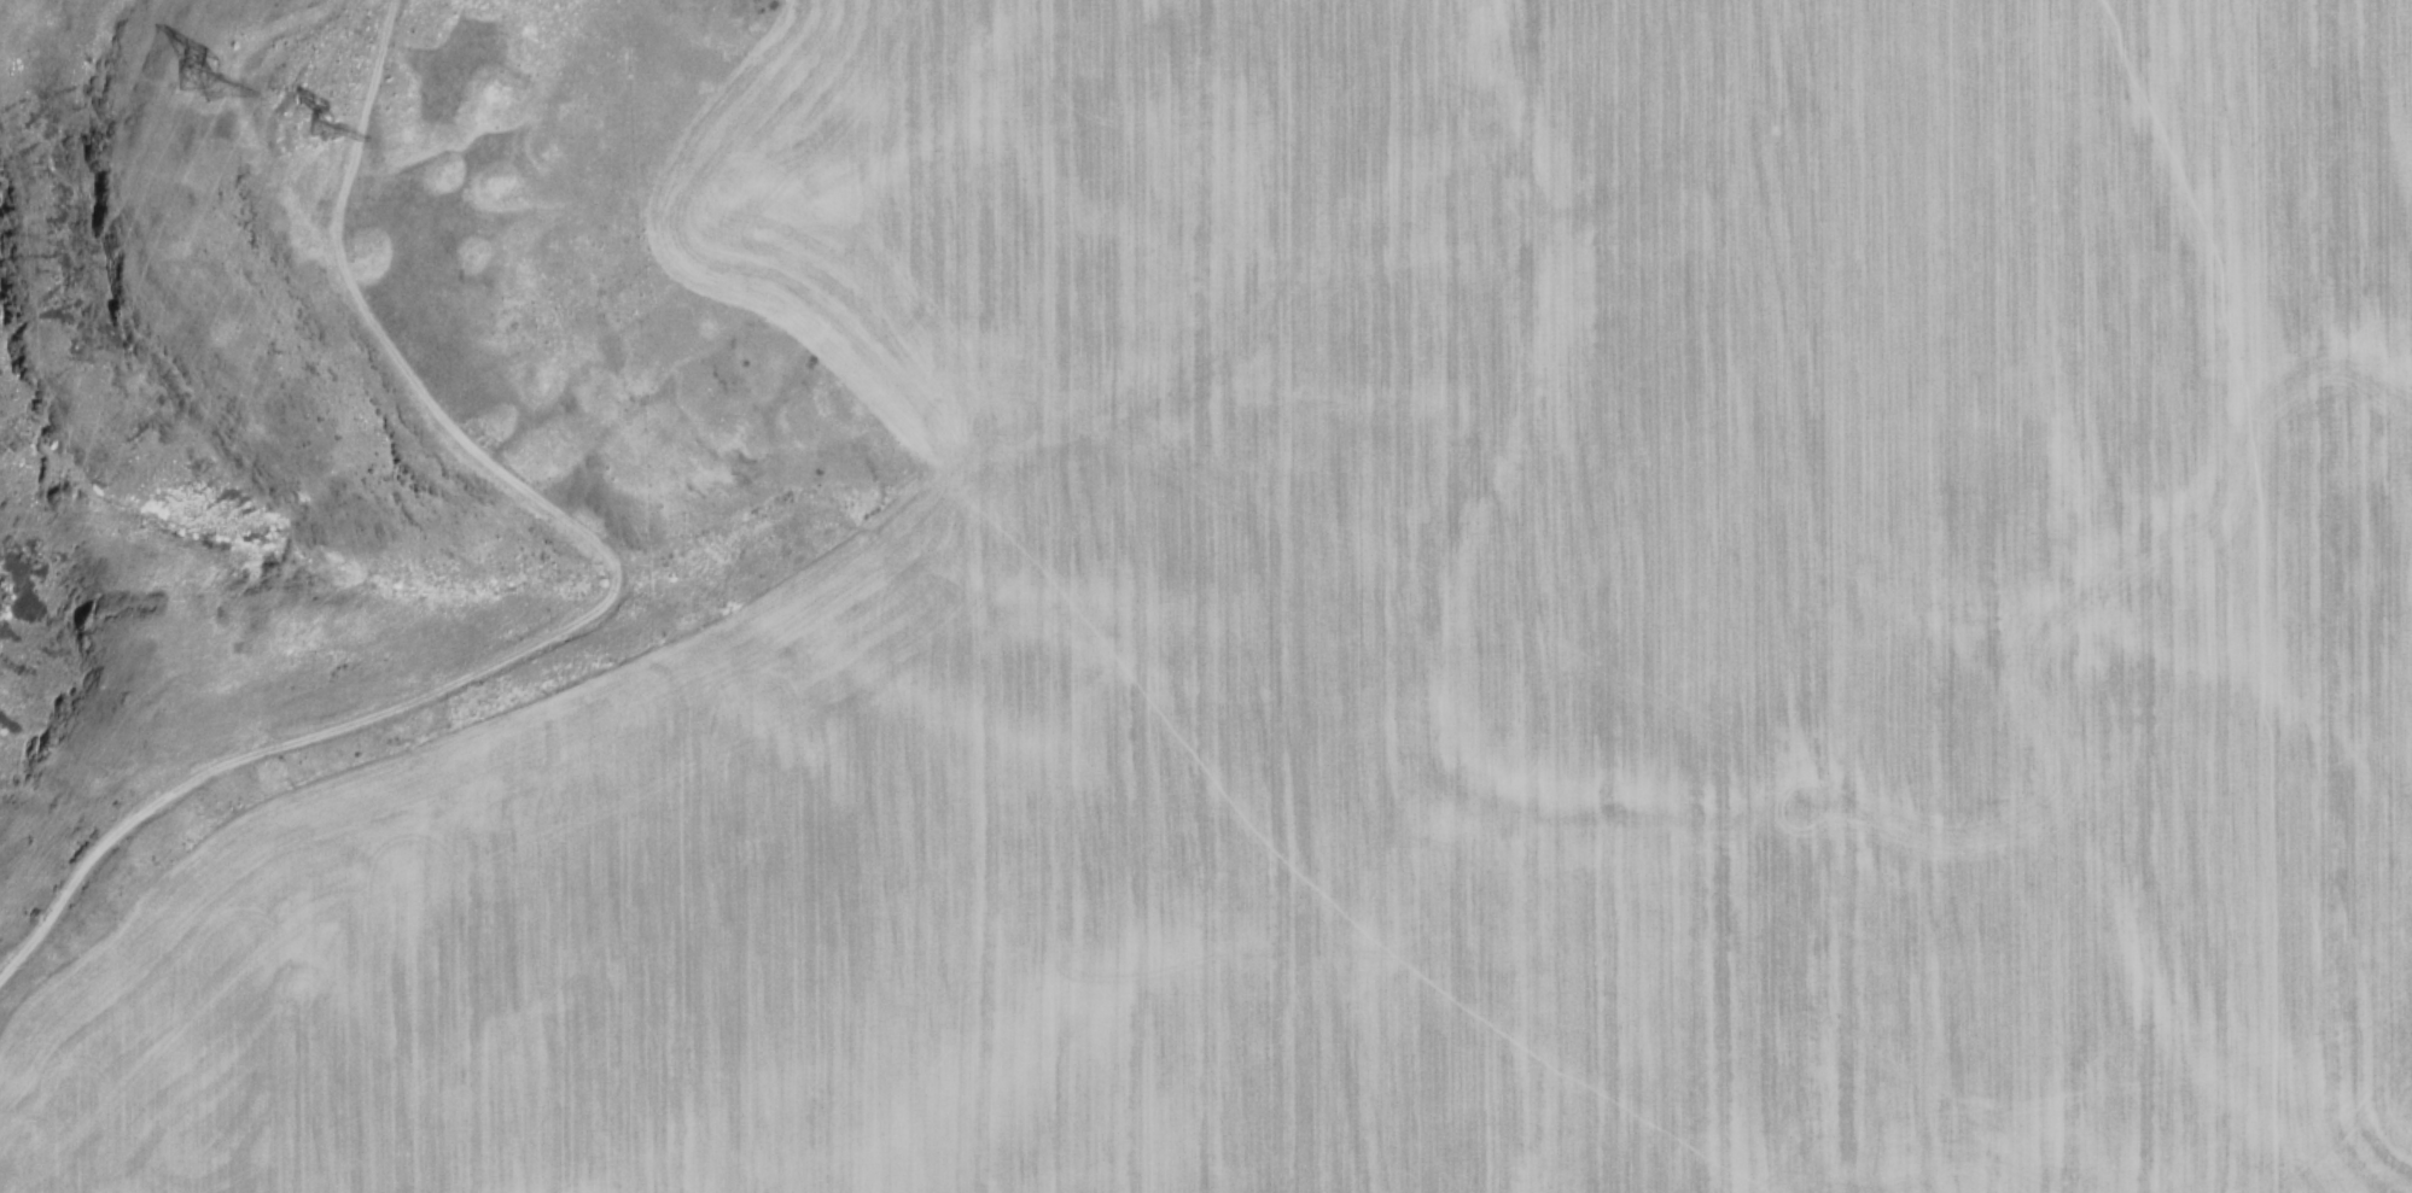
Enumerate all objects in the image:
power tower: (203, 109)
power tower: (321, 152)

